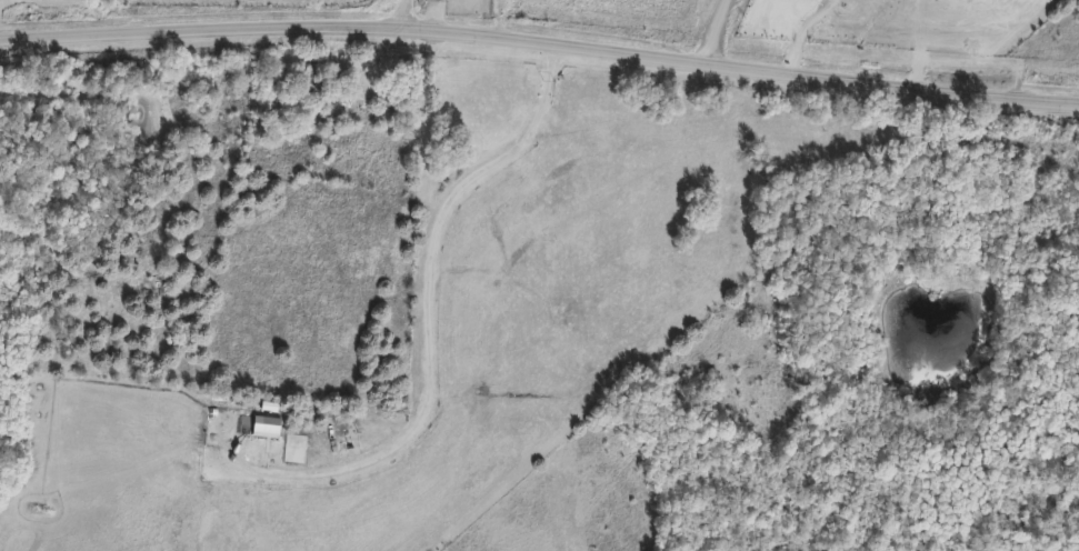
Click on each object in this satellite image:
road: (399, 14)
road: (701, 33)
road: (540, 43)
building: (244, 90)
road: (429, 317)

